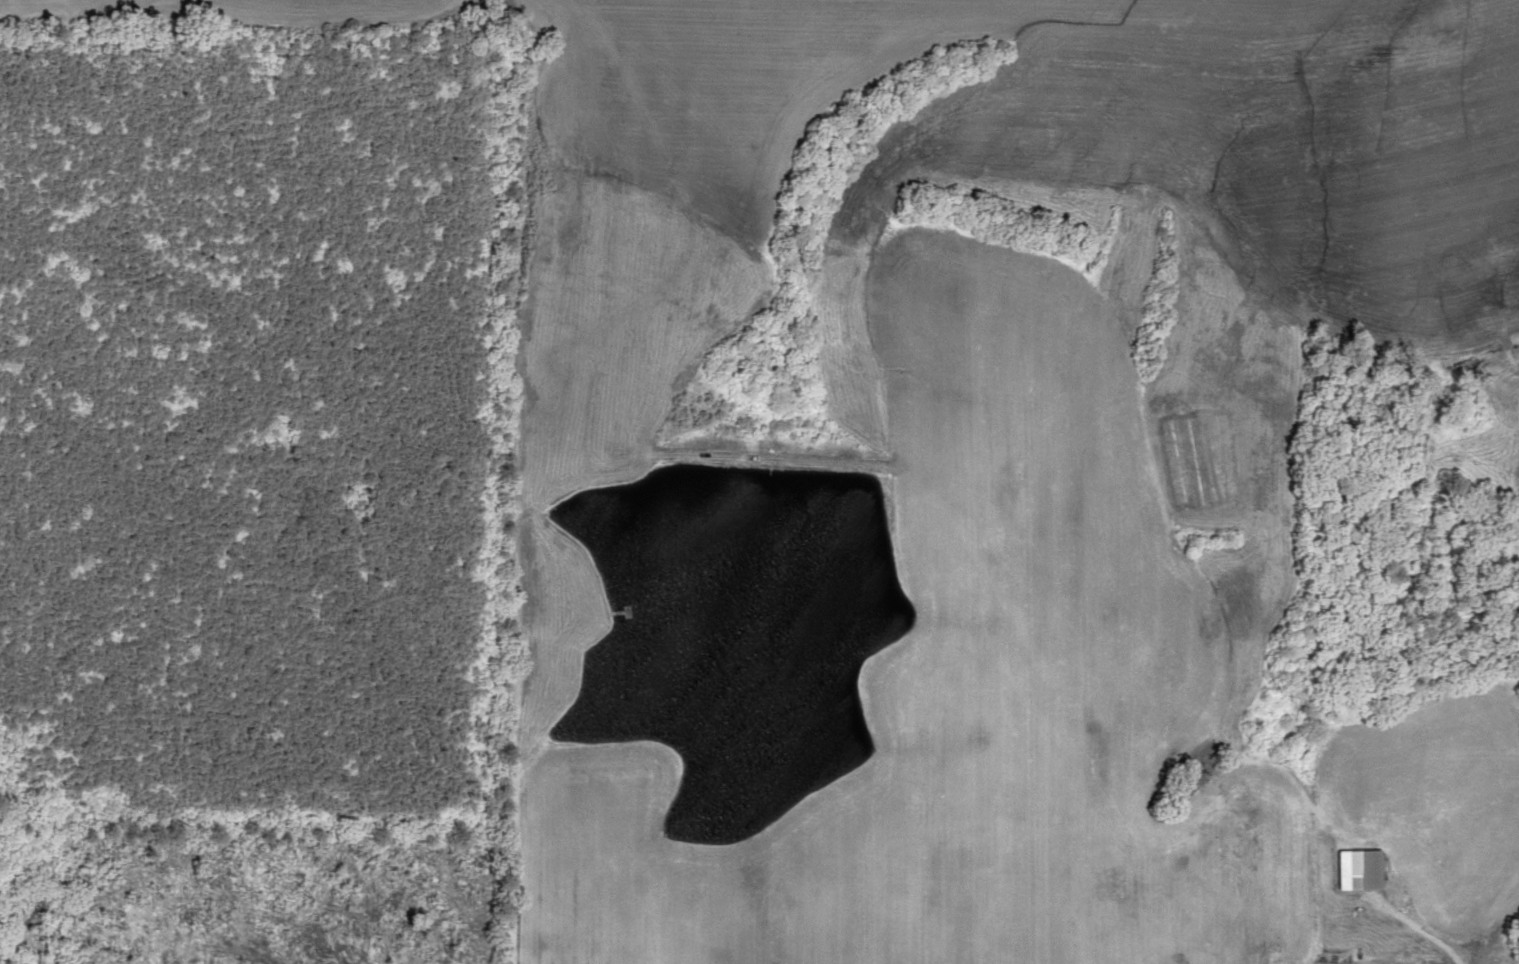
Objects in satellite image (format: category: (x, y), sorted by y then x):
building: (1356, 871)

